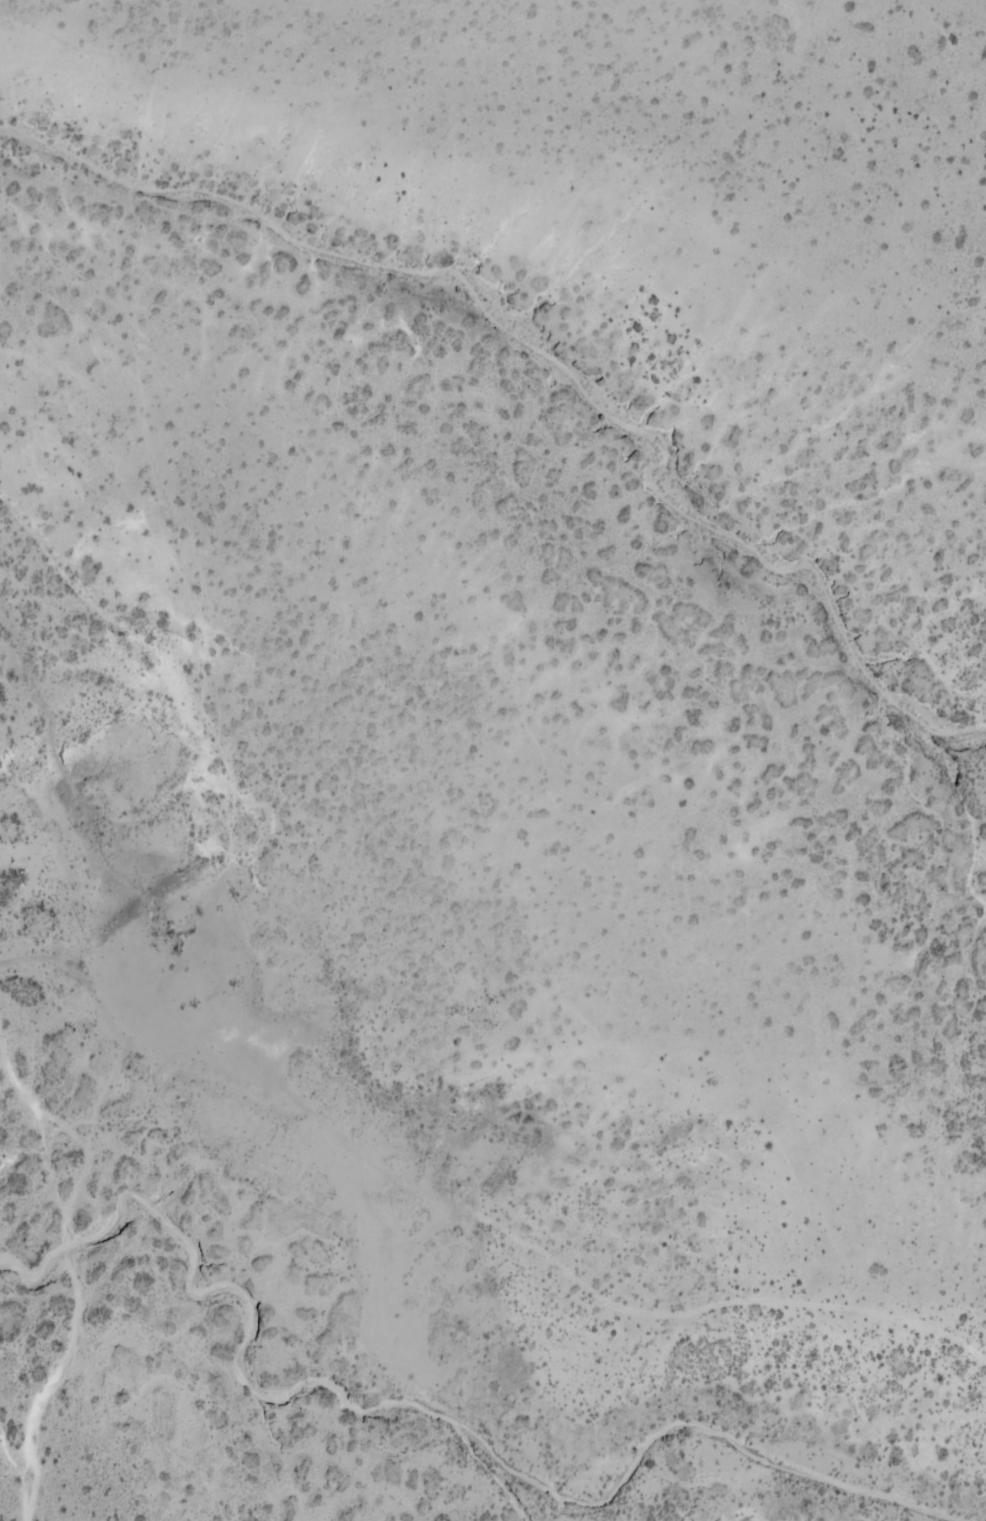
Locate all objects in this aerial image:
road: (49, 1263)

